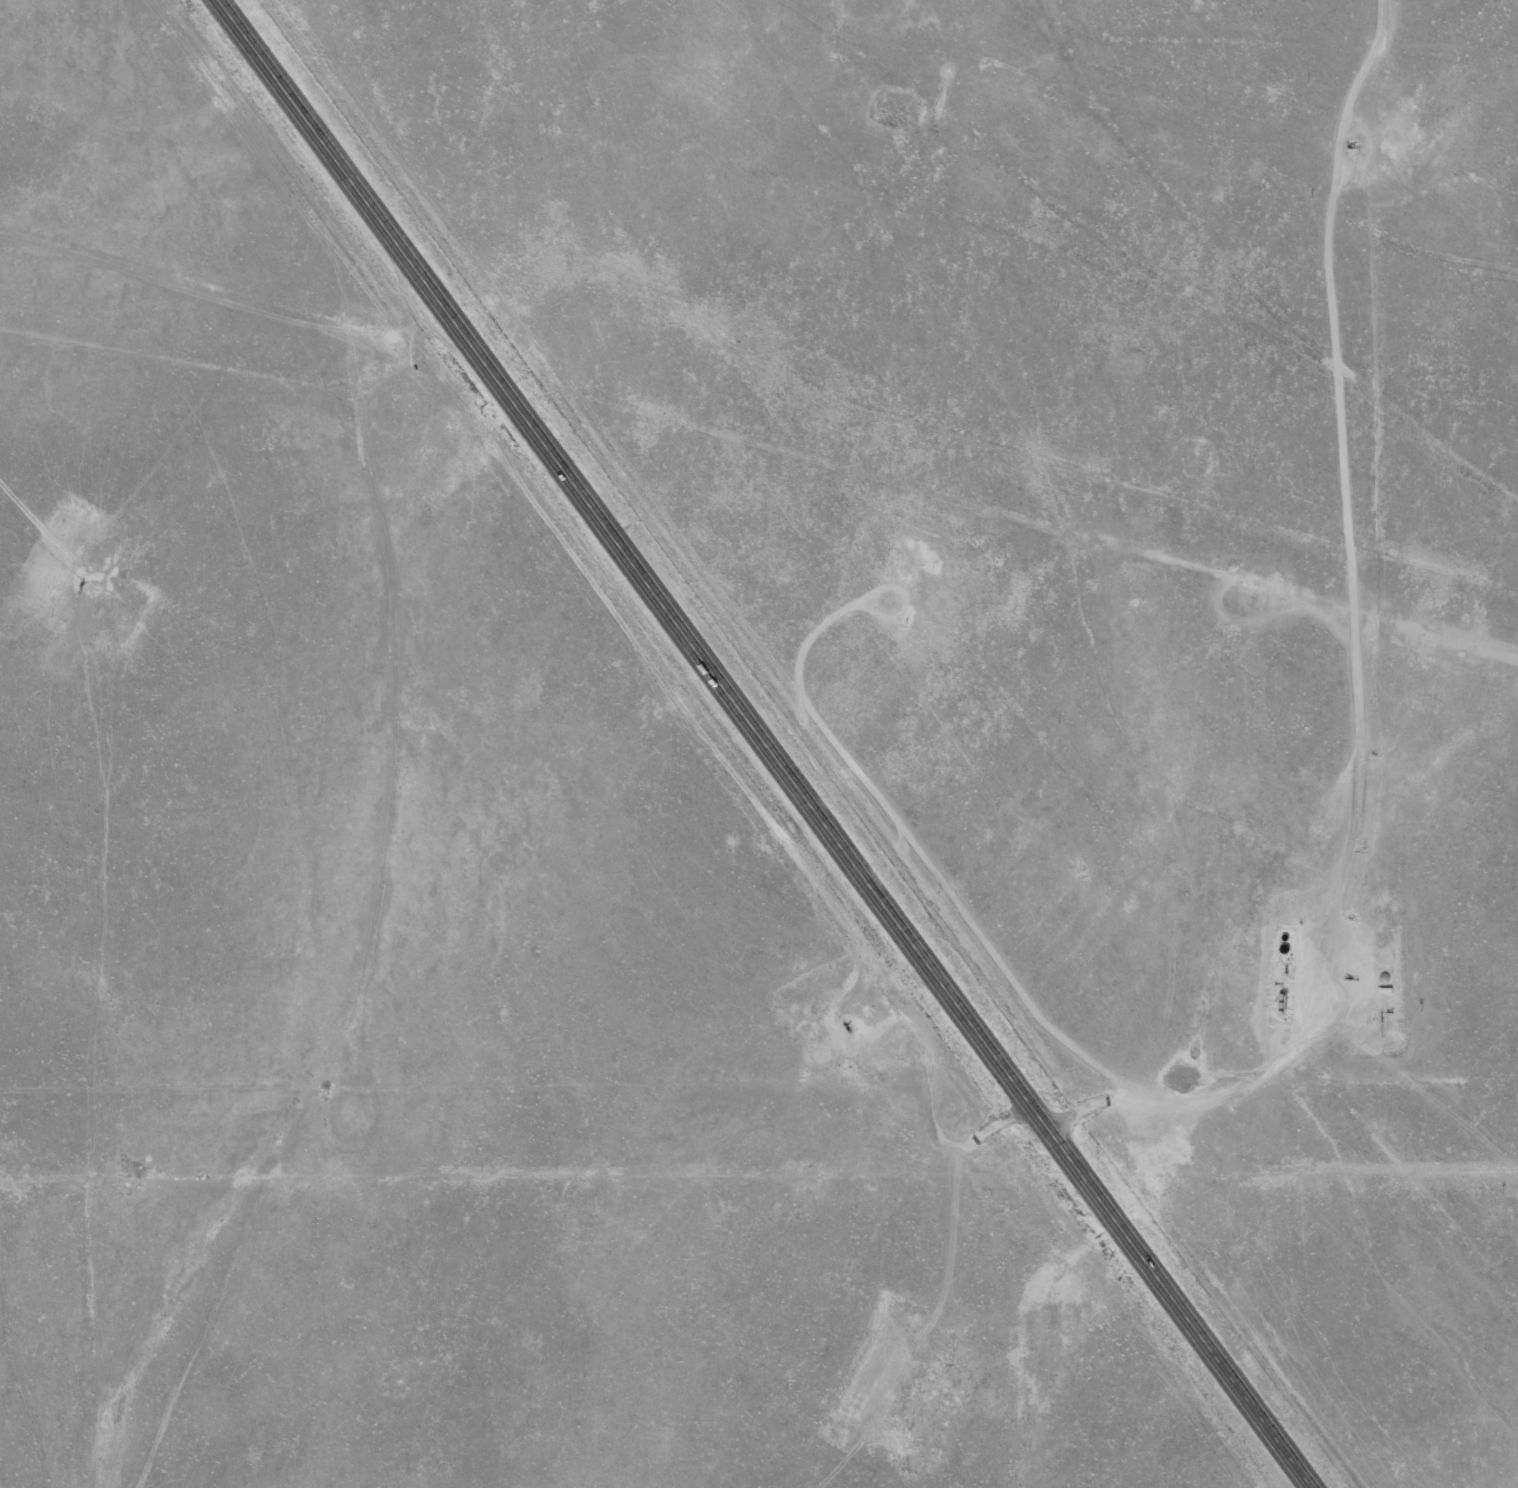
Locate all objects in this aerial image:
road: (769, 744)

